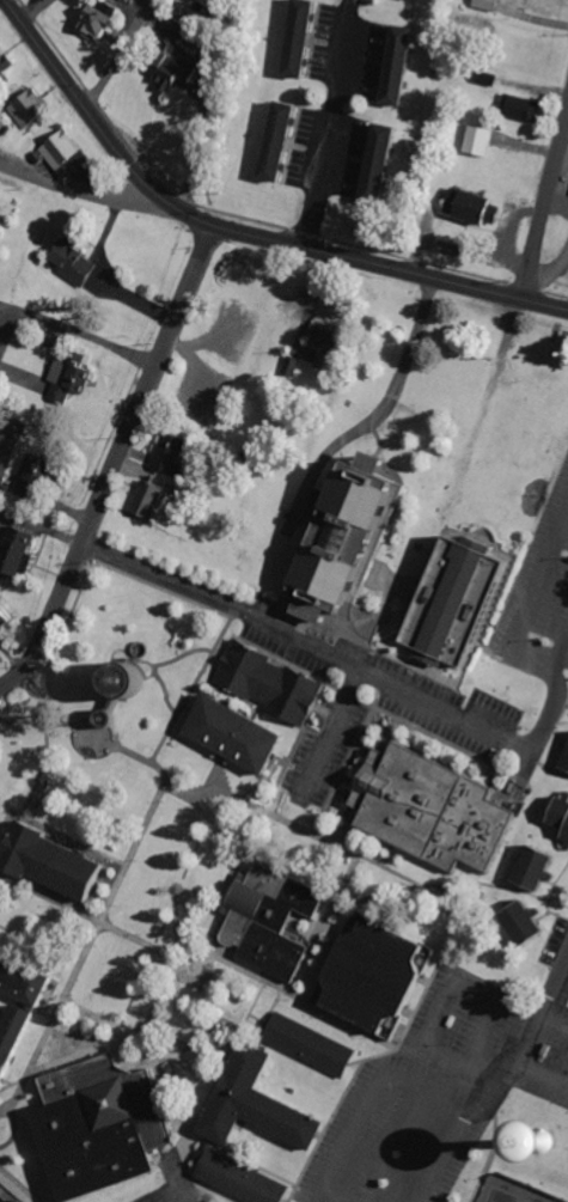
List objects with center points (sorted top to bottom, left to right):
building: (428, 0)
building: (489, 5)
building: (103, 25)
building: (307, 38)
building: (7, 61)
building: (405, 66)
building: (181, 68)
building: (524, 108)
building: (32, 109)
building: (482, 141)
building: (286, 142)
building: (68, 153)
building: (386, 164)
road: (86, 195)
road: (544, 200)
building: (475, 206)
road: (238, 232)
building: (79, 264)
building: (331, 348)
building: (71, 379)
building: (176, 453)
road: (112, 460)
building: (42, 475)
building: (153, 498)
building: (359, 536)
building: (22, 549)
building: (468, 600)
road: (530, 609)
road: (307, 642)
building: (274, 681)
road: (556, 692)
building: (245, 732)
building: (566, 765)
building: (439, 807)
building: (560, 813)
building: (567, 844)
building: (63, 860)
building: (540, 868)
building: (275, 920)
building: (531, 922)
building: (1, 927)
building: (383, 976)
building: (26, 977)
road: (555, 978)
road: (446, 1002)
road: (484, 1031)
building: (18, 1038)
building: (314, 1044)
road: (543, 1069)
road: (368, 1099)
building: (263, 1103)
road: (484, 1109)
building: (108, 1125)
road: (395, 1146)
building: (243, 1177)
road: (175, 1179)
building: (212, 1201)

